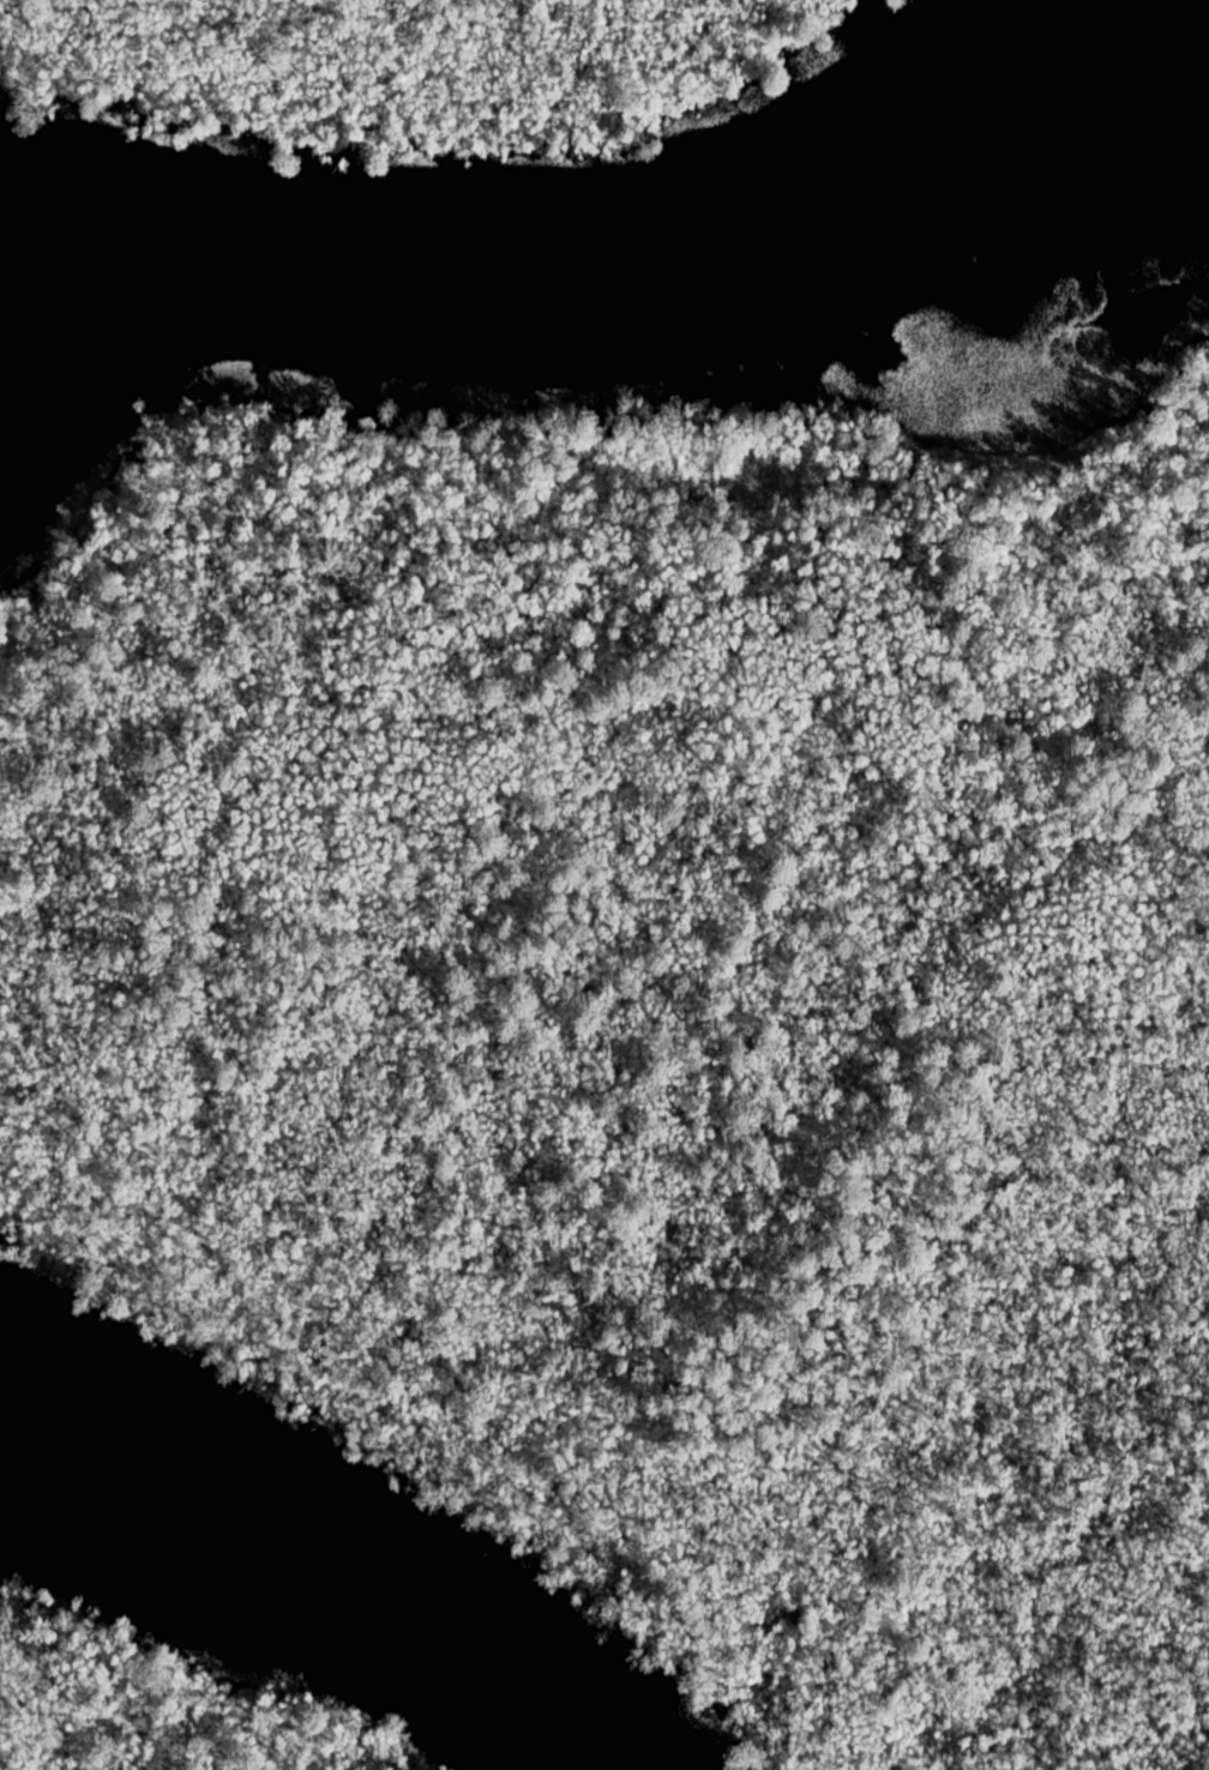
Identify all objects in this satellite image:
river: (609, 272)

